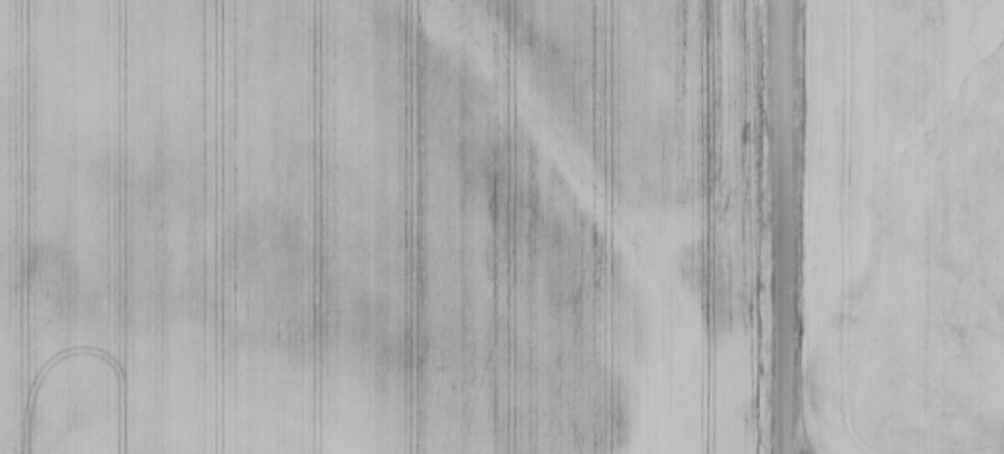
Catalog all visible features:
road: (787, 226)

